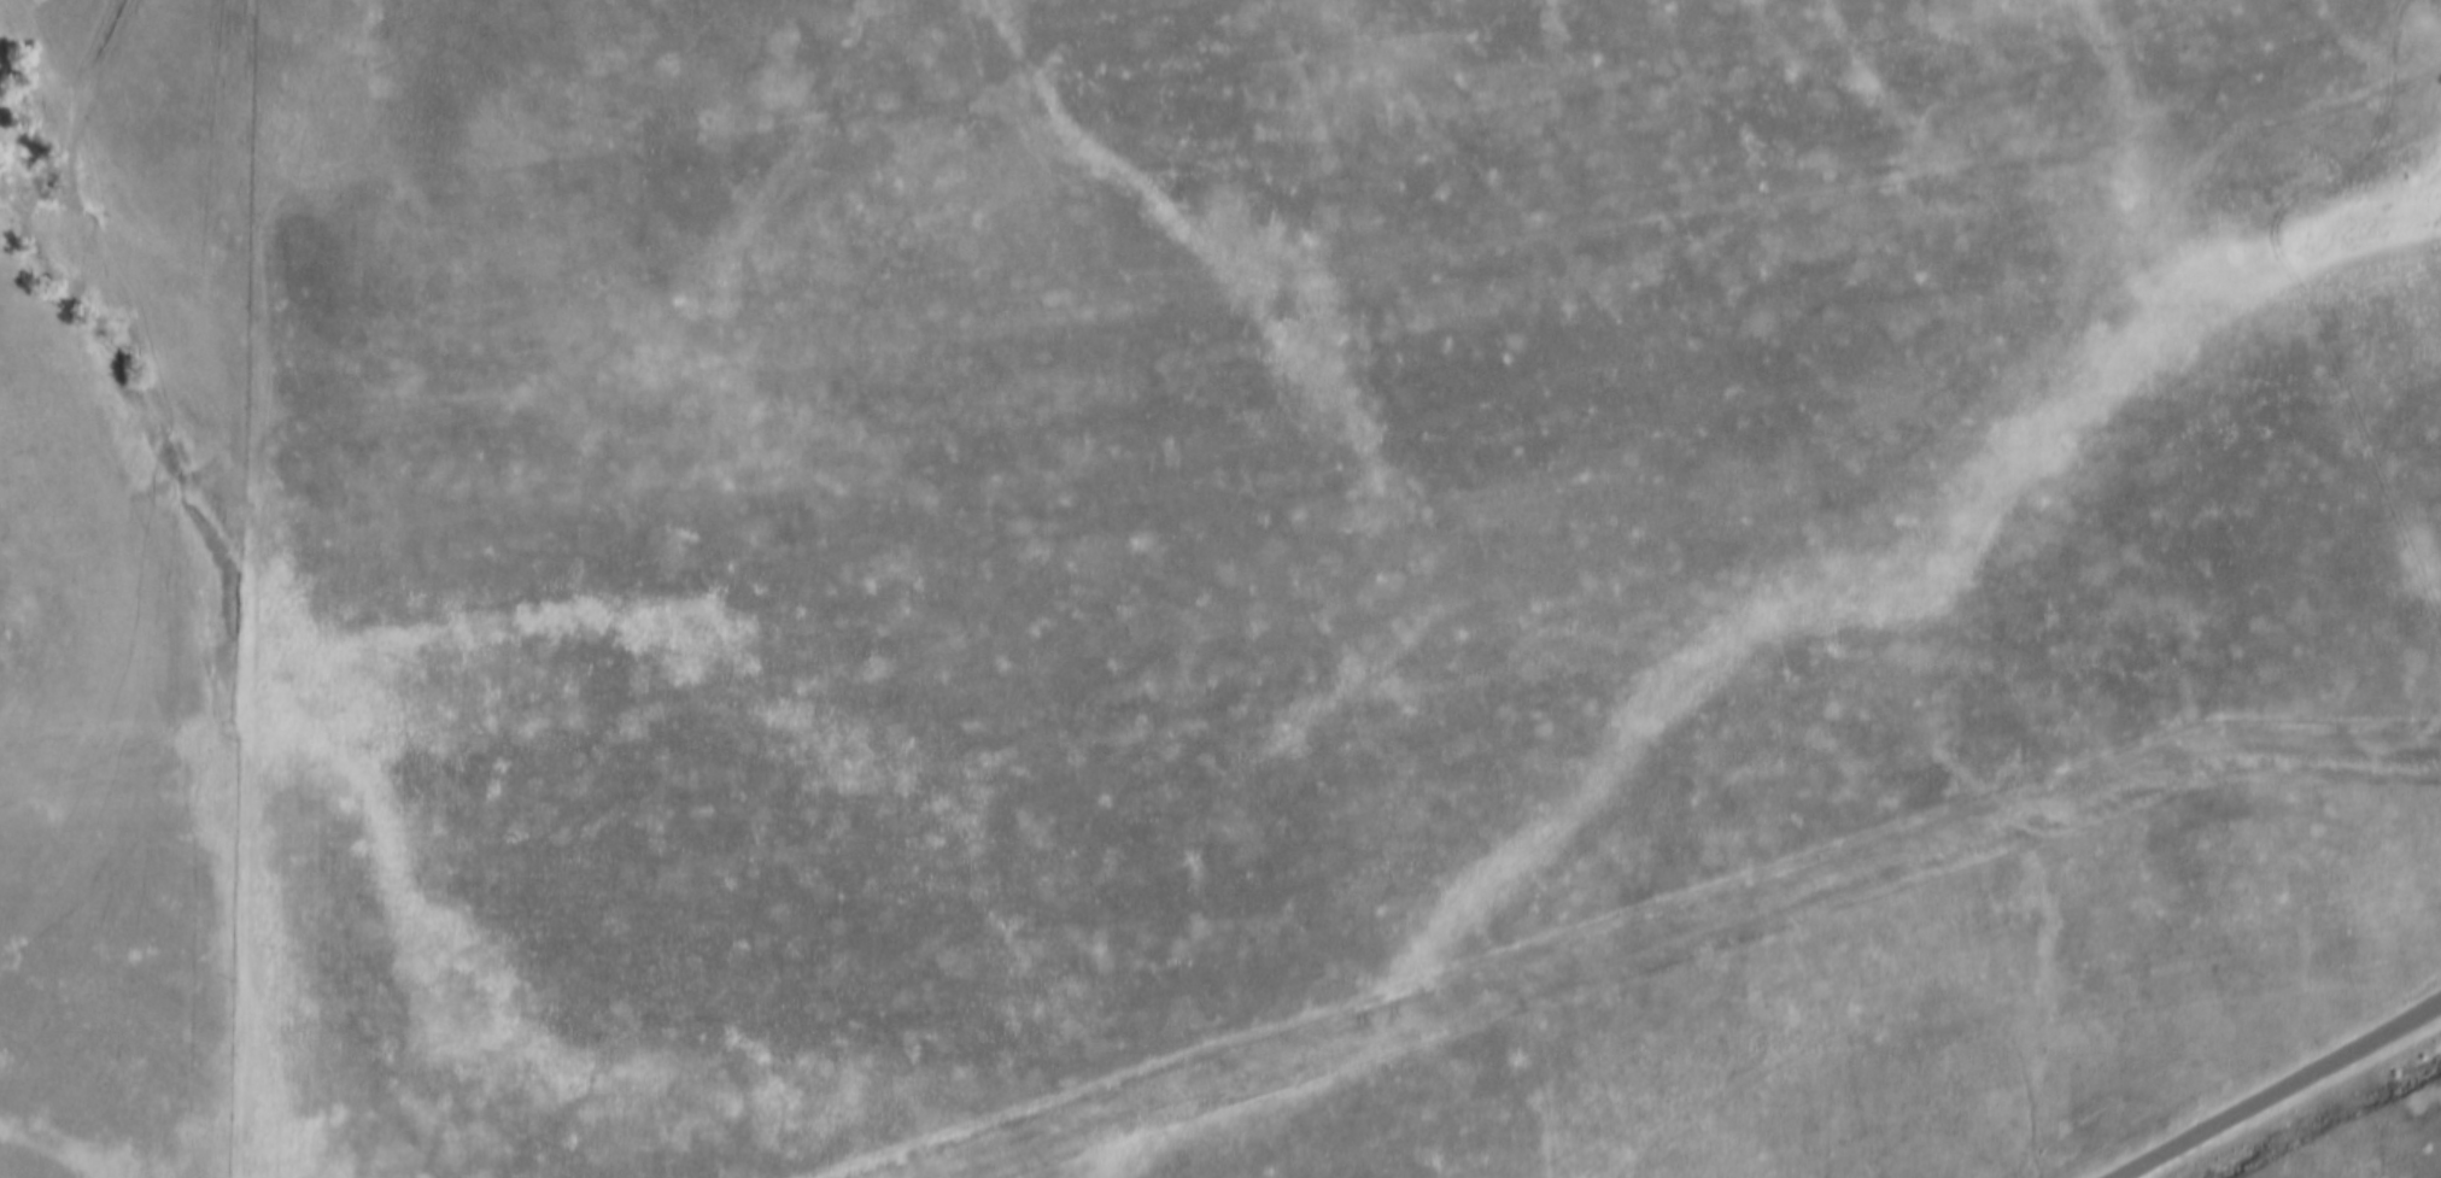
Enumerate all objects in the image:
road: (1398, 286)
road: (2277, 1088)

